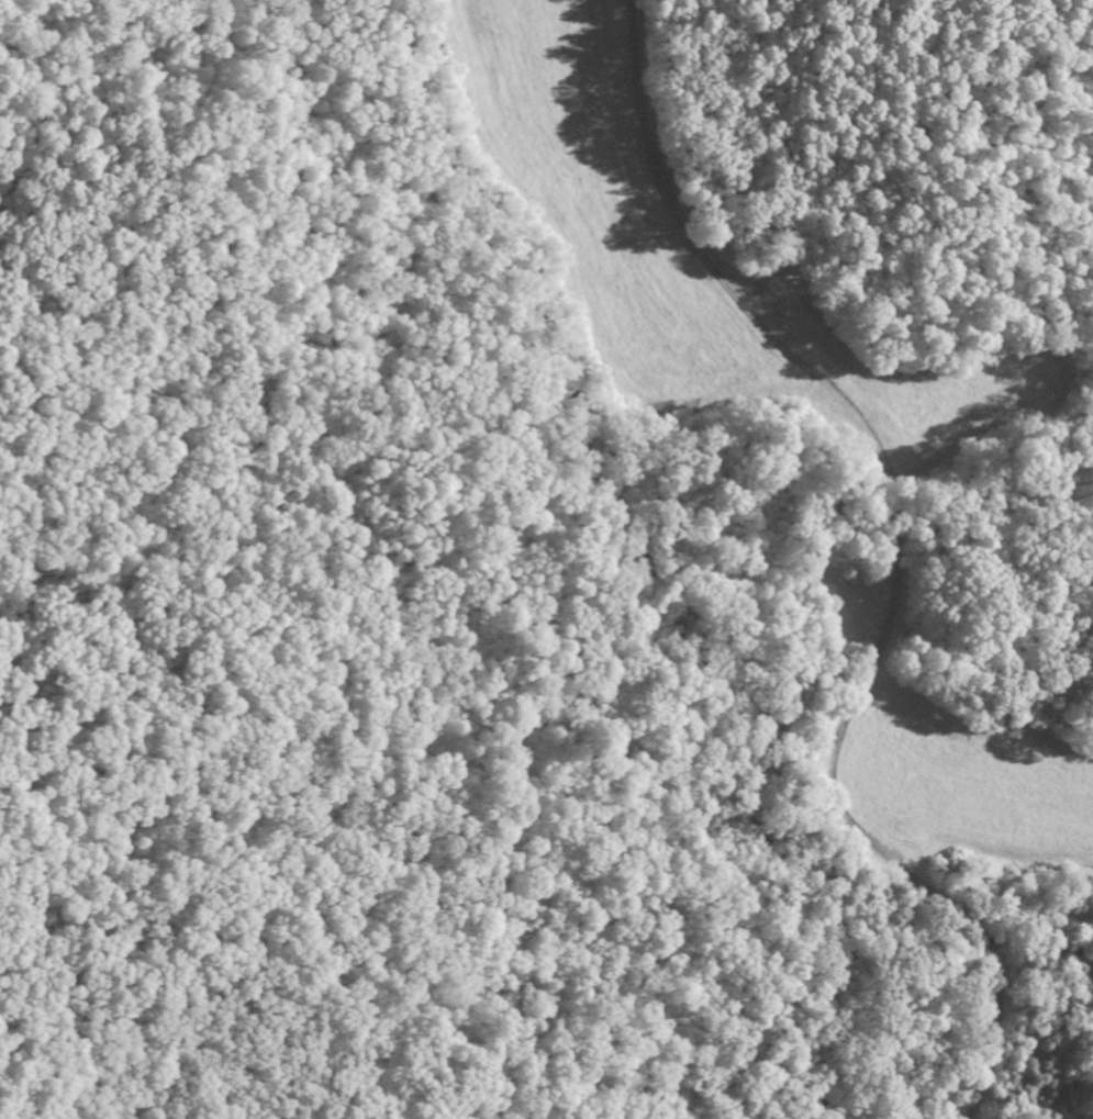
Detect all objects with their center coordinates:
road: (893, 568)

